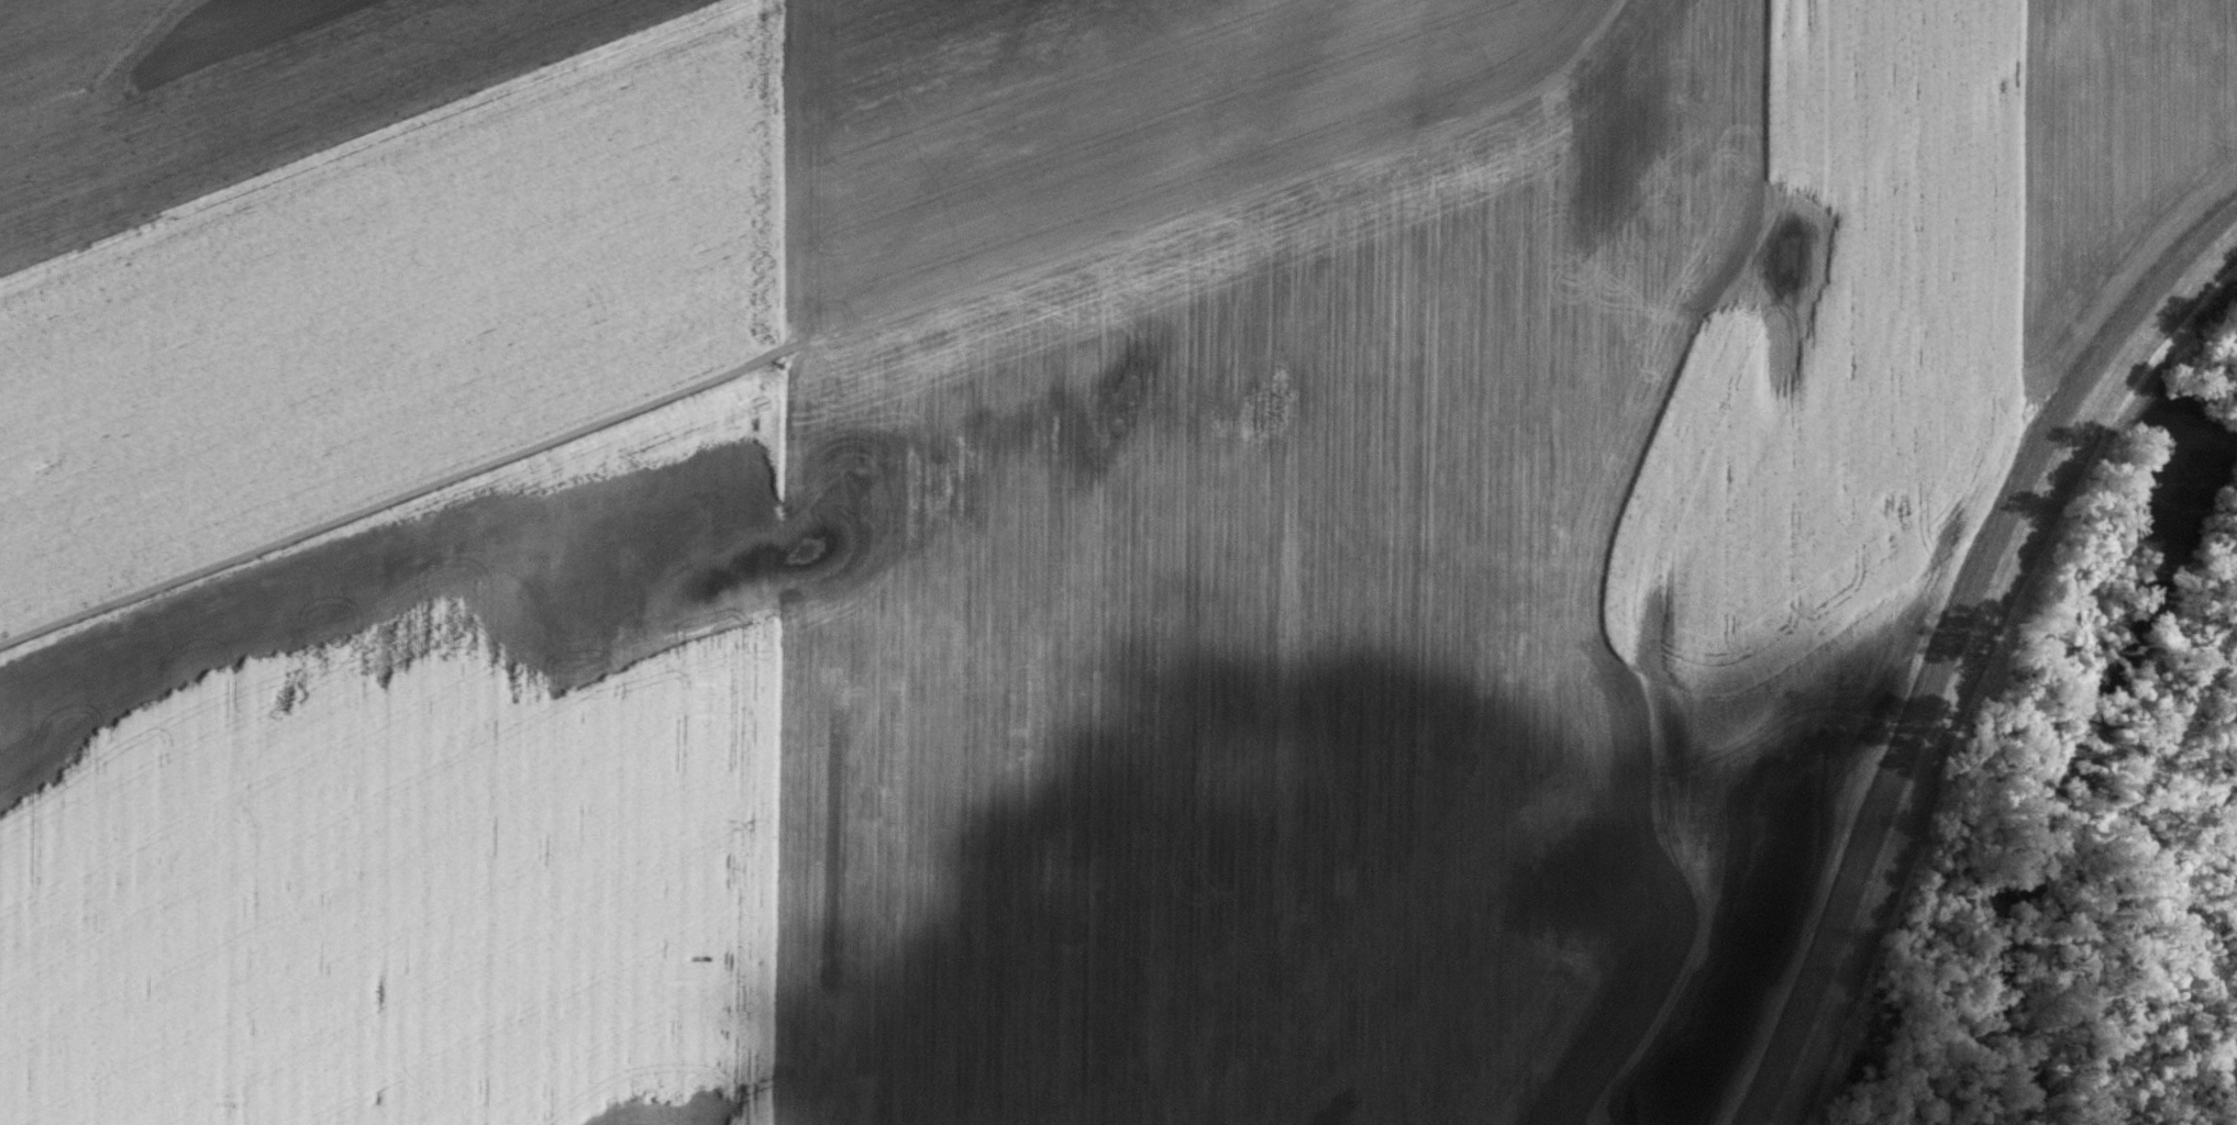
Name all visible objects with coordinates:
road: (1967, 656)

